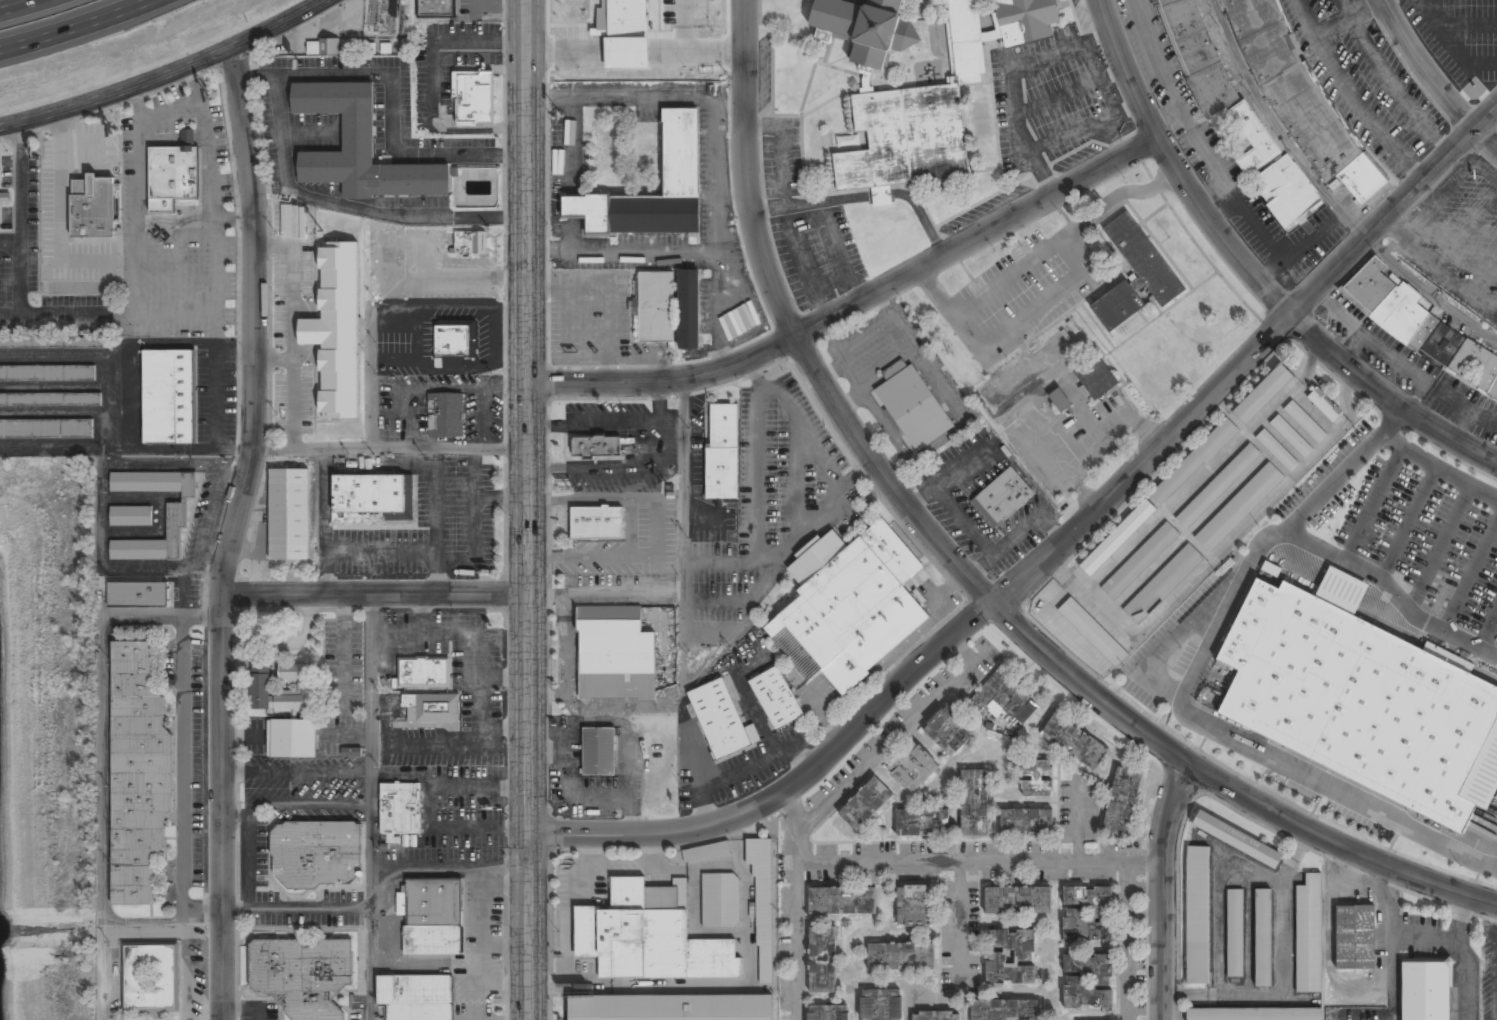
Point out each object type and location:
building: (436, 8)
road: (32, 10)
road: (87, 28)
building: (865, 28)
building: (323, 47)
building: (1196, 55)
road: (170, 78)
road: (1432, 78)
building: (1291, 84)
building: (473, 98)
building: (934, 101)
road: (573, 123)
building: (1252, 139)
building: (359, 147)
building: (680, 166)
building: (1362, 177)
building: (171, 178)
building: (1286, 192)
building: (92, 207)
road: (573, 207)
building: (470, 243)
road: (564, 248)
road: (1252, 272)
building: (1134, 274)
road: (449, 276)
road: (856, 303)
road: (447, 305)
building: (669, 308)
building: (1414, 322)
road: (294, 327)
building: (334, 330)
road: (309, 332)
road: (494, 334)
road: (416, 335)
building: (76, 342)
building: (453, 343)
road: (276, 360)
road: (448, 363)
building: (26, 373)
road: (369, 377)
building: (1096, 378)
road: (470, 387)
building: (902, 391)
building: (1262, 395)
building: (168, 397)
building: (50, 399)
building: (1060, 401)
road: (658, 403)
building: (1325, 405)
road: (391, 414)
building: (445, 416)
road: (484, 417)
road: (412, 418)
building: (1305, 422)
road: (803, 428)
building: (46, 429)
building: (1291, 436)
road: (390, 447)
building: (597, 447)
road: (658, 449)
building: (1277, 450)
building: (722, 452)
road: (758, 458)
building: (1195, 461)
road: (1441, 465)
road: (798, 478)
building: (1217, 487)
building: (372, 496)
road: (501, 498)
building: (1002, 498)
road: (1381, 504)
building: (1239, 507)
road: (529, 509)
building: (288, 515)
building: (176, 516)
building: (130, 517)
road: (325, 520)
road: (434, 520)
building: (597, 523)
road: (1415, 523)
road: (474, 524)
road: (237, 528)
road: (656, 528)
building: (1117, 538)
parking lot: (1431, 544)
road: (1051, 546)
road: (1324, 551)
road: (1448, 551)
road: (380, 552)
road: (723, 560)
road: (763, 560)
road: (769, 560)
building: (1139, 561)
road: (964, 572)
road: (1474, 583)
building: (1163, 584)
building: (1341, 588)
road: (374, 593)
building: (137, 596)
building: (848, 606)
road: (423, 613)
building: (1092, 632)
road: (1491, 641)
road: (344, 651)
building: (614, 654)
building: (422, 673)
road: (505, 676)
building: (260, 688)
building: (1357, 697)
building: (776, 698)
building: (1005, 698)
building: (433, 707)
road: (481, 715)
building: (721, 721)
road: (425, 724)
road: (505, 727)
building: (948, 731)
building: (291, 739)
building: (1075, 742)
building: (351, 752)
building: (599, 752)
building: (912, 768)
road: (296, 773)
road: (402, 773)
building: (137, 774)
building: (1036, 779)
building: (1122, 802)
building: (974, 803)
road: (306, 804)
building: (866, 805)
road: (371, 806)
road: (427, 807)
building: (400, 809)
building: (1026, 823)
building: (921, 824)
traffic signals: (529, 834)
building: (1237, 839)
road: (249, 849)
building: (706, 852)
building: (317, 854)
road: (433, 868)
road: (1163, 888)
building: (720, 901)
building: (842, 901)
building: (1017, 901)
building: (763, 906)
road: (296, 907)
building: (914, 907)
road: (484, 913)
building: (1087, 913)
building: (1198, 916)
building: (433, 917)
building: (1234, 933)
building: (1309, 935)
building: (649, 936)
building: (1263, 938)
building: (1355, 938)
road: (506, 946)
building: (901, 958)
building: (1010, 958)
building: (822, 961)
road: (427, 966)
building: (303, 975)
building: (149, 977)
building: (1088, 982)
road: (506, 985)
building: (1425, 991)
building: (416, 997)
building: (881, 1005)
building: (670, 1008)
road: (246, 1009)
building: (1004, 1010)
building: (828, 1013)
road: (223, 1014)
building: (1254, 1014)
building: (936, 1016)

